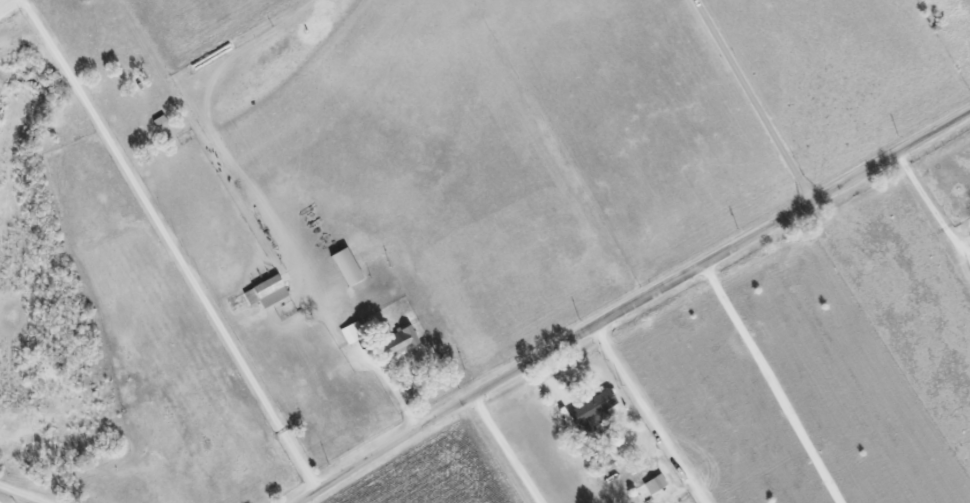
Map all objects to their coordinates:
road: (755, 100)
road: (929, 201)
road: (168, 246)
road: (633, 304)
road: (333, 330)
building: (396, 342)
road: (769, 383)
road: (646, 416)
road: (507, 450)
building: (652, 484)
road: (22, 493)

